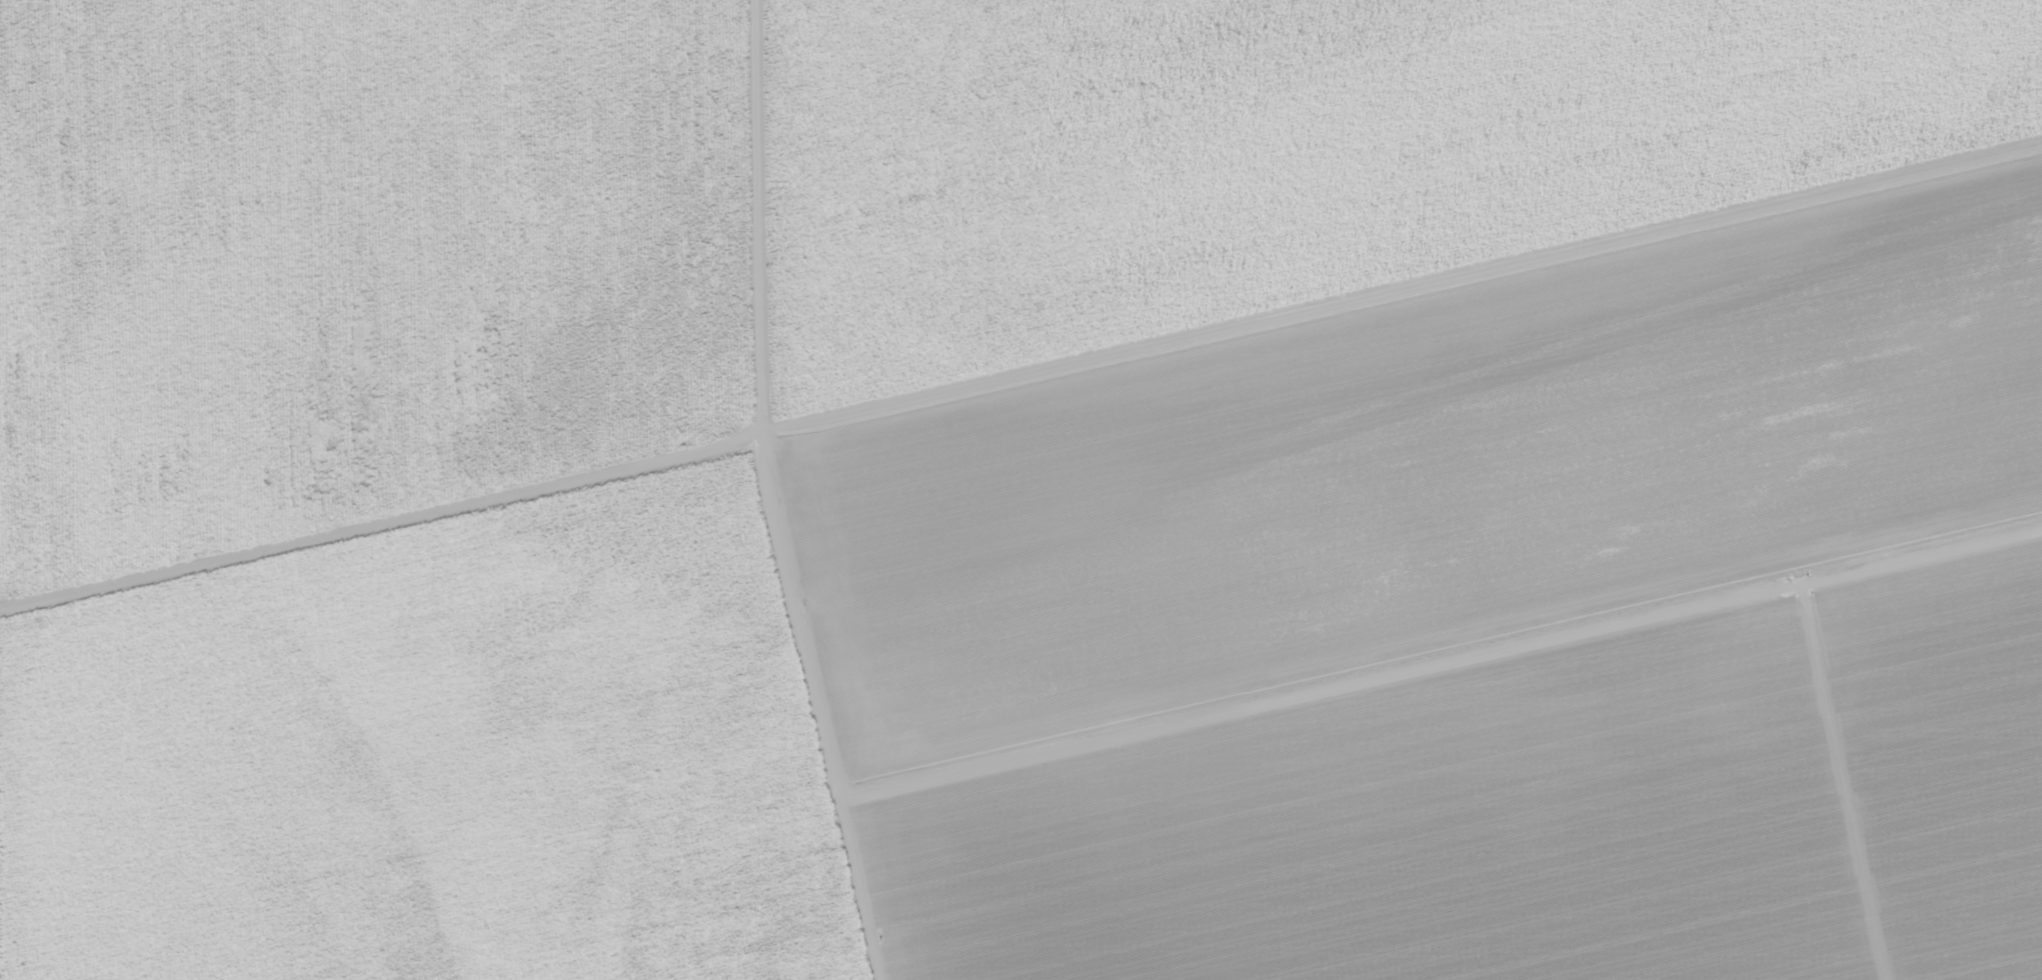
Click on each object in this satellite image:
road: (1020, 376)
road: (768, 496)
road: (1443, 670)
road: (1841, 784)

